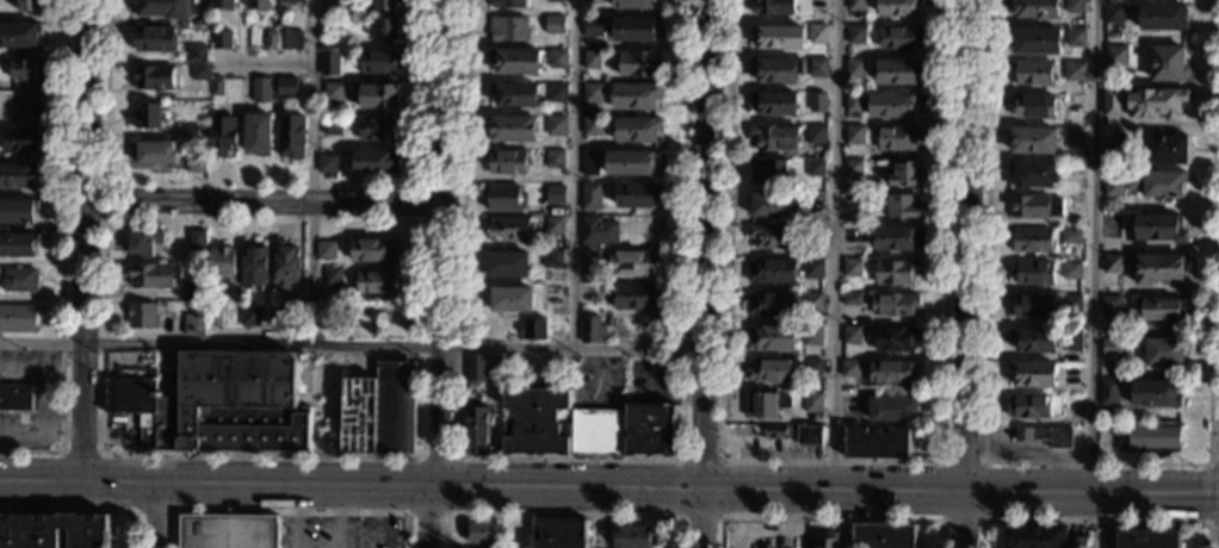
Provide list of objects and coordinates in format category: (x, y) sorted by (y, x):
building: (292, 0)
building: (555, 0)
building: (592, 1)
building: (332, 2)
building: (507, 2)
building: (223, 4)
building: (632, 4)
building: (259, 5)
building: (385, 5)
building: (817, 5)
building: (855, 5)
building: (29, 6)
building: (1075, 6)
building: (772, 7)
building: (898, 7)
building: (163, 8)
building: (1034, 8)
building: (1113, 13)
building: (1163, 17)
building: (332, 23)
building: (553, 25)
building: (592, 26)
building: (385, 29)
building: (507, 29)
building: (633, 30)
building: (817, 33)
building: (19, 35)
building: (855, 36)
building: (1075, 37)
building: (778, 38)
building: (899, 38)
building: (153, 39)
building: (219, 39)
building: (284, 39)
building: (270, 41)
building: (1035, 41)
building: (196, 54)
building: (1115, 56)
building: (556, 57)
building: (590, 60)
building: (515, 61)
building: (377, 62)
building: (328, 63)
building: (638, 63)
building: (1167, 63)
road: (261, 64)
building: (817, 68)
building: (855, 68)
building: (25, 69)
building: (776, 70)
building: (898, 71)
building: (1073, 71)
building: (199, 73)
building: (1033, 73)
building: (154, 76)
building: (216, 86)
building: (285, 86)
building: (259, 89)
building: (333, 92)
building: (556, 93)
building: (592, 93)
building: (514, 95)
building: (635, 95)
building: (378, 96)
building: (855, 101)
building: (818, 102)
building: (1110, 102)
building: (1157, 102)
building: (774, 104)
building: (893, 105)
building: (29, 106)
building: (1034, 106)
building: (147, 117)
building: (332, 125)
building: (555, 125)
building: (592, 127)
building: (377, 129)
building: (511, 129)
building: (636, 130)
building: (188, 132)
building: (256, 133)
building: (854, 133)
building: (817, 135)
building: (222, 136)
building: (290, 136)
building: (1075, 136)
building: (773, 137)
building: (898, 137)
building: (19, 139)
building: (1033, 141)
building: (1112, 141)
building: (1165, 148)
building: (155, 152)
building: (553, 158)
building: (373, 161)
building: (589, 162)
building: (196, 163)
building: (326, 163)
building: (507, 163)
building: (632, 163)
building: (854, 167)
building: (816, 168)
road: (313, 172)
building: (768, 172)
road: (573, 174)
building: (903, 174)
building: (1033, 175)
building: (18, 178)
building: (1113, 182)
road: (262, 183)
building: (1156, 183)
road: (421, 185)
building: (553, 195)
building: (589, 197)
building: (635, 197)
building: (501, 198)
building: (853, 200)
building: (817, 203)
road: (265, 204)
building: (1073, 204)
building: (771, 205)
building: (904, 206)
building: (1033, 206)
building: (17, 212)
road: (101, 219)
building: (553, 225)
building: (507, 229)
building: (1157, 229)
building: (596, 231)
building: (853, 233)
building: (771, 236)
building: (196, 237)
building: (1070, 237)
building: (896, 238)
road: (83, 241)
building: (143, 241)
building: (1033, 241)
building: (17, 244)
road: (444, 244)
road: (704, 245)
road: (837, 245)
road: (964, 245)
road: (1090, 245)
building: (324, 250)
building: (373, 250)
road: (61, 256)
building: (551, 259)
building: (590, 260)
building: (632, 262)
building: (222, 263)
building: (506, 264)
building: (1112, 264)
building: (285, 266)
building: (254, 268)
building: (853, 268)
building: (813, 269)
building: (1159, 269)
building: (772, 270)
building: (1070, 270)
building: (897, 272)
building: (1032, 273)
building: (153, 275)
building: (332, 275)
building: (19, 280)
building: (375, 281)
building: (196, 289)
building: (589, 294)
building: (635, 295)
building: (511, 299)
building: (853, 299)
building: (813, 303)
building: (771, 304)
building: (1070, 304)
building: (896, 305)
building: (1032, 307)
building: (1112, 307)
building: (354, 309)
building: (1159, 309)
building: (142, 315)
building: (214, 316)
building: (281, 316)
building: (249, 317)
building: (328, 318)
building: (17, 319)
building: (608, 322)
building: (194, 325)
building: (534, 329)
building: (592, 329)
building: (812, 335)
building: (853, 335)
building: (769, 338)
building: (896, 340)
building: (1072, 340)
building: (1033, 341)
road: (352, 345)
building: (1110, 348)
building: (1164, 353)
building: (476, 367)
building: (812, 367)
building: (850, 368)
building: (771, 372)
building: (891, 372)
building: (1033, 374)
building: (1108, 392)
building: (131, 394)
building: (1155, 394)
building: (16, 397)
building: (812, 401)
building: (765, 404)
building: (229, 405)
building: (1028, 406)
building: (893, 409)
building: (380, 410)
building: (536, 422)
building: (476, 430)
building: (650, 430)
building: (595, 432)
building: (796, 435)
building: (1045, 436)
building: (1151, 438)
building: (879, 443)
road: (80, 454)
road: (101, 454)
road: (569, 459)
road: (699, 460)
road: (831, 460)
road: (1095, 466)
road: (175, 484)
road: (215, 487)
traffic signals: (431, 488)
road: (679, 488)
road: (719, 488)
road: (695, 490)
road: (1208, 492)
road: (1090, 493)
road: (85, 511)
road: (155, 512)
road: (286, 512)
road: (443, 515)
road: (561, 516)
road: (159, 517)
road: (293, 517)
road: (375, 517)
road: (422, 517)
road: (333, 518)
road: (700, 518)
road: (828, 518)
road: (704, 519)
road: (961, 519)
road: (980, 521)
road: (1095, 521)
building: (52, 530)
building: (228, 531)
parking lot: (336, 533)
building: (481, 533)
building: (559, 533)
building: (633, 536)
building: (884, 536)
building: (1035, 536)
building: (1146, 538)
building: (827, 540)
building: (1076, 542)

